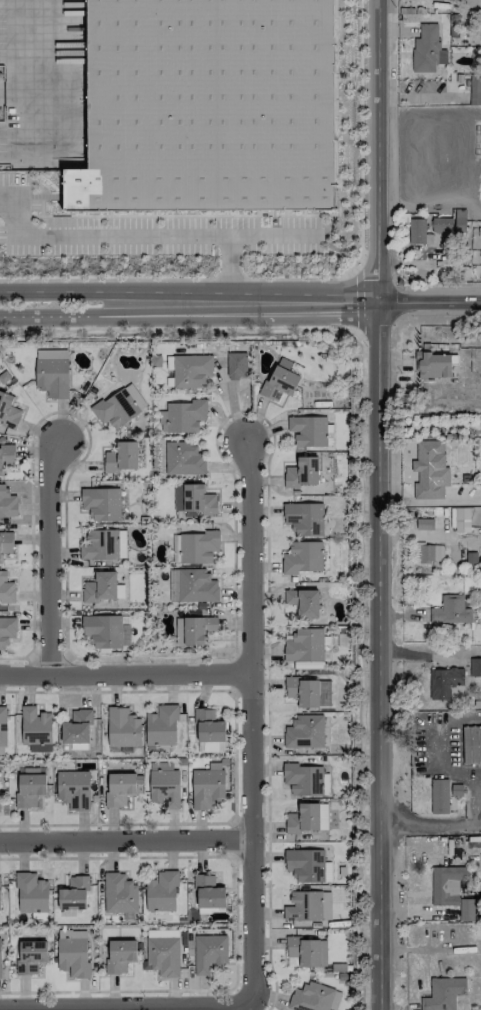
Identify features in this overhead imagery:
building: (480, 32)
building: (427, 50)
road: (19, 55)
building: (475, 90)
building: (208, 106)
building: (441, 225)
building: (416, 231)
road: (142, 239)
road: (229, 265)
road: (190, 291)
road: (356, 301)
road: (430, 303)
road: (190, 313)
building: (432, 365)
building: (190, 371)
building: (51, 372)
building: (279, 381)
building: (118, 406)
building: (8, 412)
building: (181, 417)
building: (307, 431)
building: (6, 456)
building: (121, 457)
building: (183, 459)
building: (428, 470)
building: (302, 473)
building: (194, 499)
building: (7, 503)
building: (101, 503)
road: (378, 505)
building: (304, 519)
building: (461, 520)
building: (424, 524)
road: (420, 534)
building: (5, 544)
building: (100, 544)
building: (197, 547)
road: (48, 552)
building: (430, 553)
building: (302, 557)
building: (192, 586)
building: (99, 587)
building: (6, 588)
building: (303, 602)
building: (450, 610)
building: (197, 629)
building: (6, 631)
building: (304, 646)
road: (418, 656)
building: (475, 667)
road: (122, 672)
building: (445, 683)
building: (308, 692)
road: (245, 712)
building: (3, 726)
building: (161, 726)
building: (208, 726)
building: (76, 727)
building: (122, 728)
building: (35, 729)
building: (304, 732)
building: (471, 744)
building: (211, 747)
building: (303, 779)
building: (207, 786)
building: (29, 787)
building: (164, 787)
building: (73, 789)
building: (119, 789)
building: (439, 796)
building: (307, 818)
road: (429, 823)
road: (123, 843)
building: (305, 865)
building: (327, 872)
building: (446, 885)
building: (161, 892)
building: (208, 892)
building: (31, 893)
building: (119, 893)
building: (73, 894)
building: (0, 908)
building: (466, 910)
building: (162, 933)
building: (307, 951)
building: (209, 953)
building: (30, 956)
building: (72, 956)
building: (119, 956)
building: (162, 956)
building: (0, 971)
building: (443, 993)
building: (310, 997)
road: (123, 1001)

